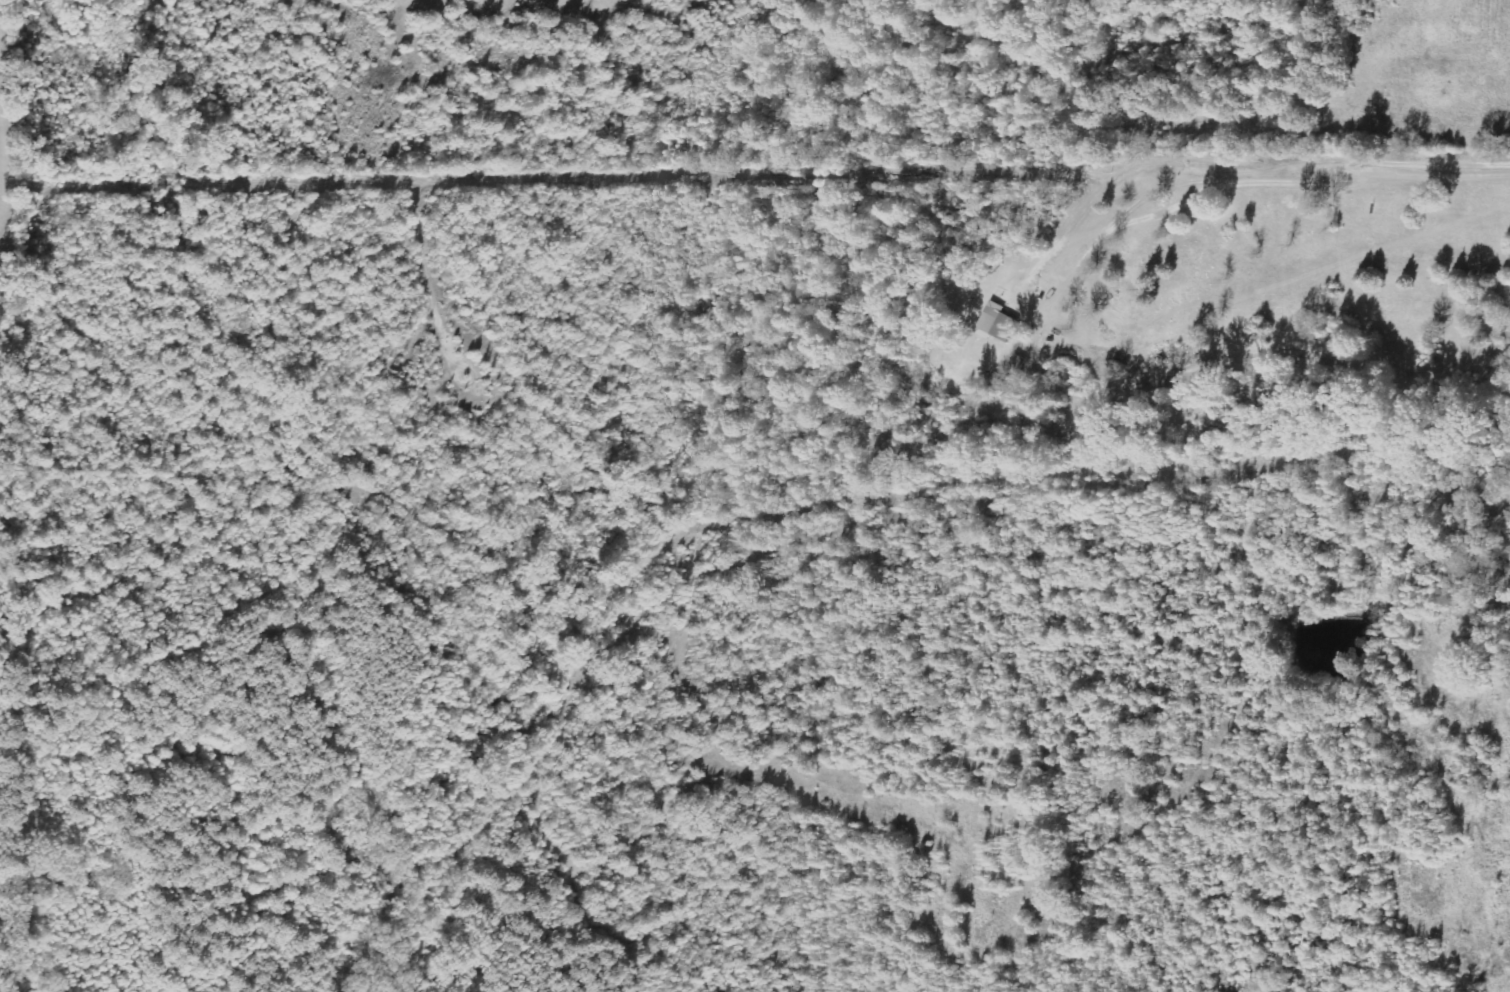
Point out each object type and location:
road: (1243, 171)
building: (996, 324)

